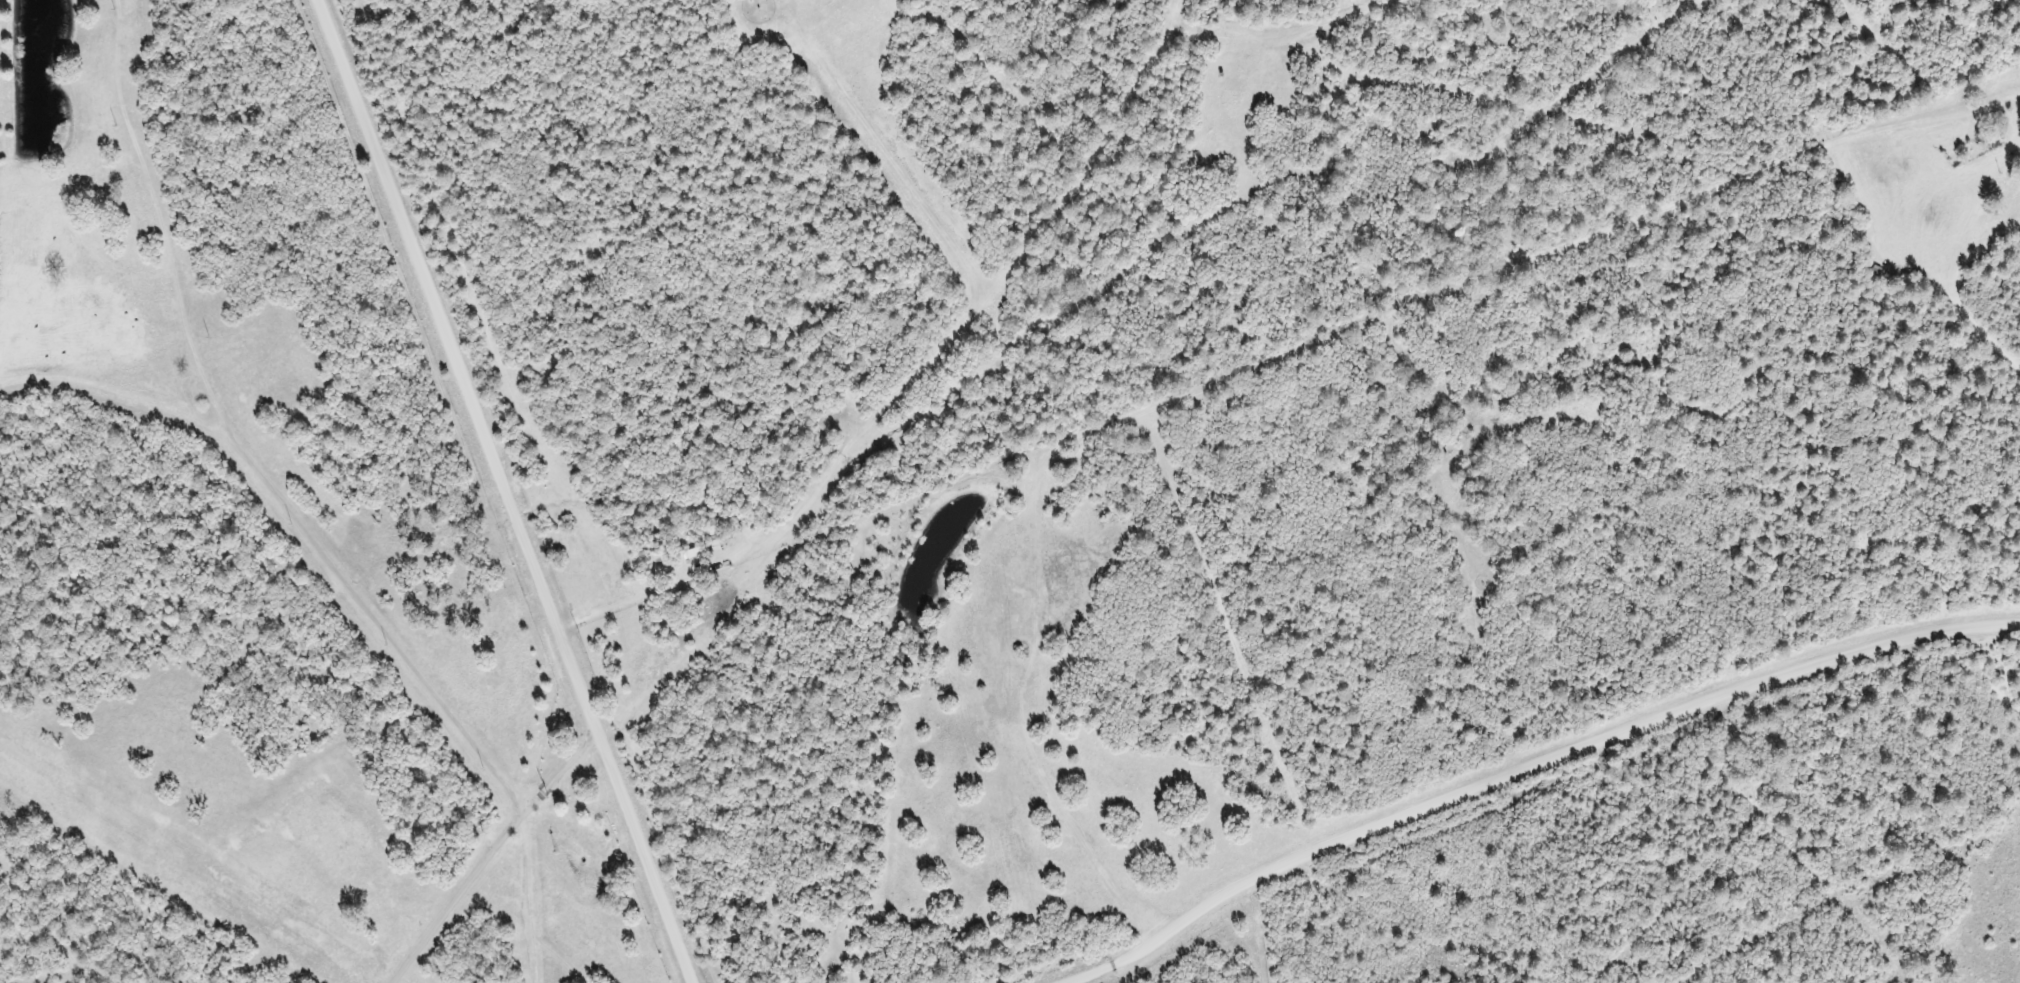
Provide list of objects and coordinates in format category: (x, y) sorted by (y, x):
road: (1183, 16)
road: (890, 152)
road: (71, 161)
road: (937, 307)
road: (491, 324)
road: (460, 352)
road: (54, 373)
road: (290, 492)
building: (717, 540)
road: (1069, 752)
road: (1526, 767)
road: (489, 842)
road: (646, 843)
road: (519, 944)

